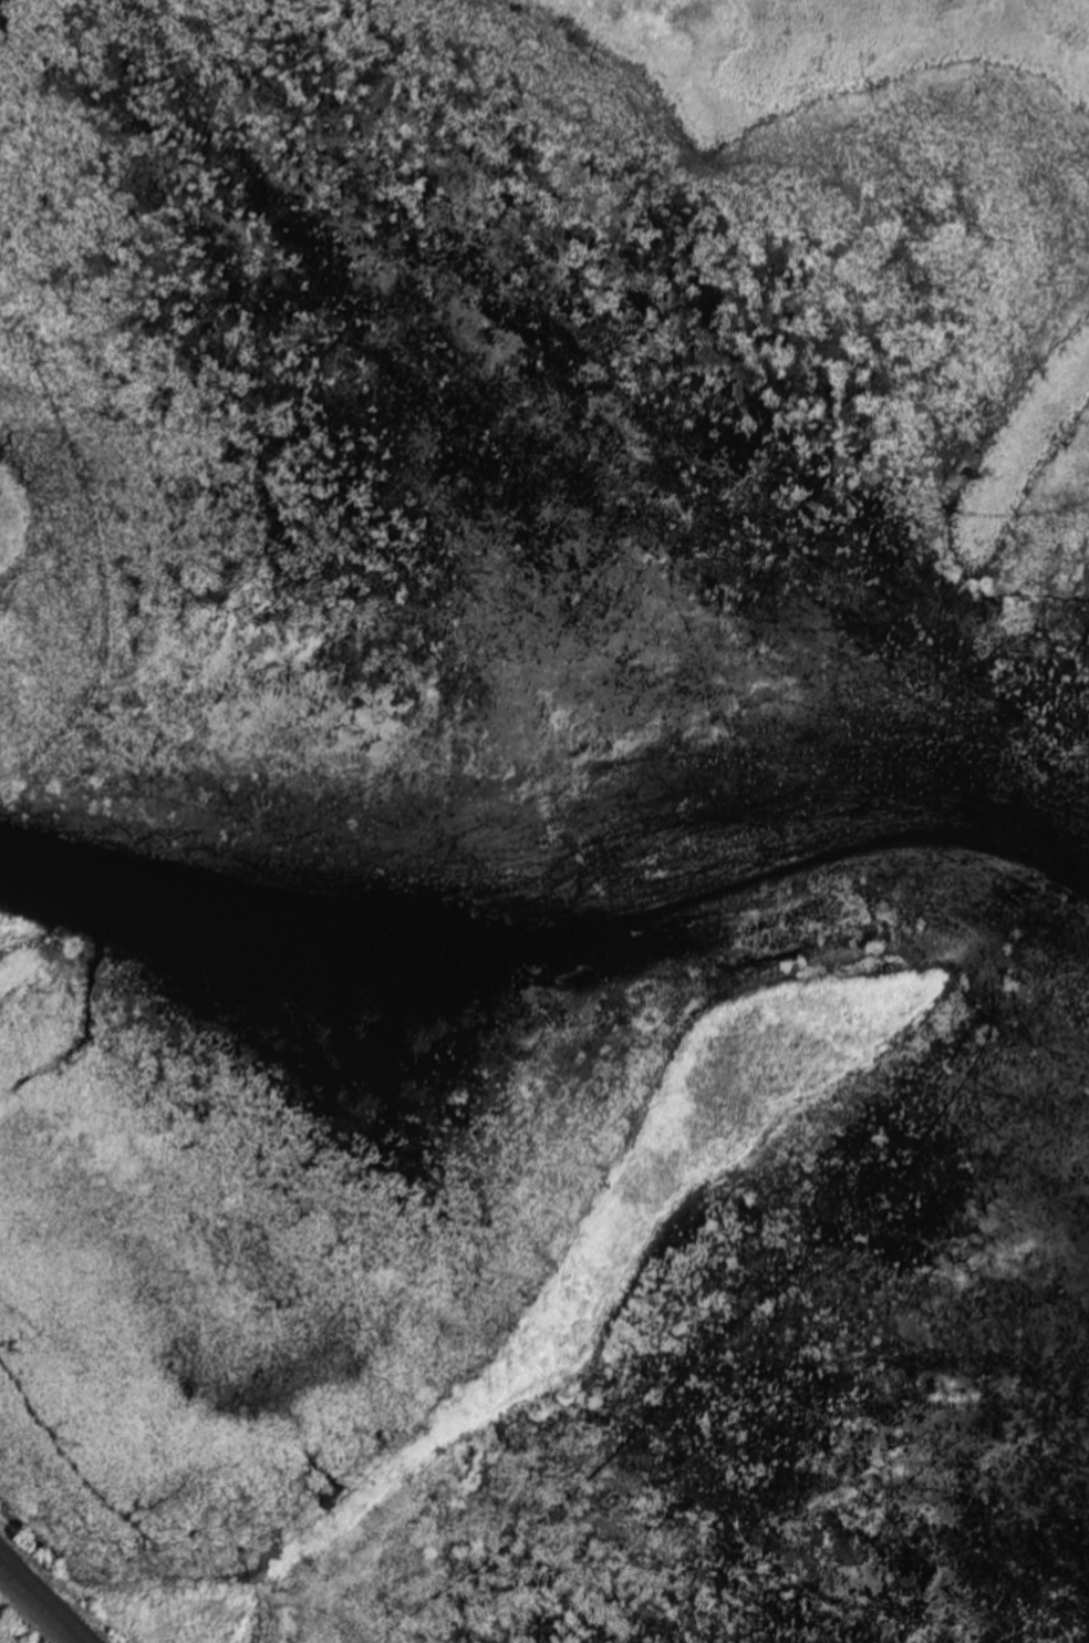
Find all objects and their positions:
railway: (48, 1594)
railway: (39, 1603)

